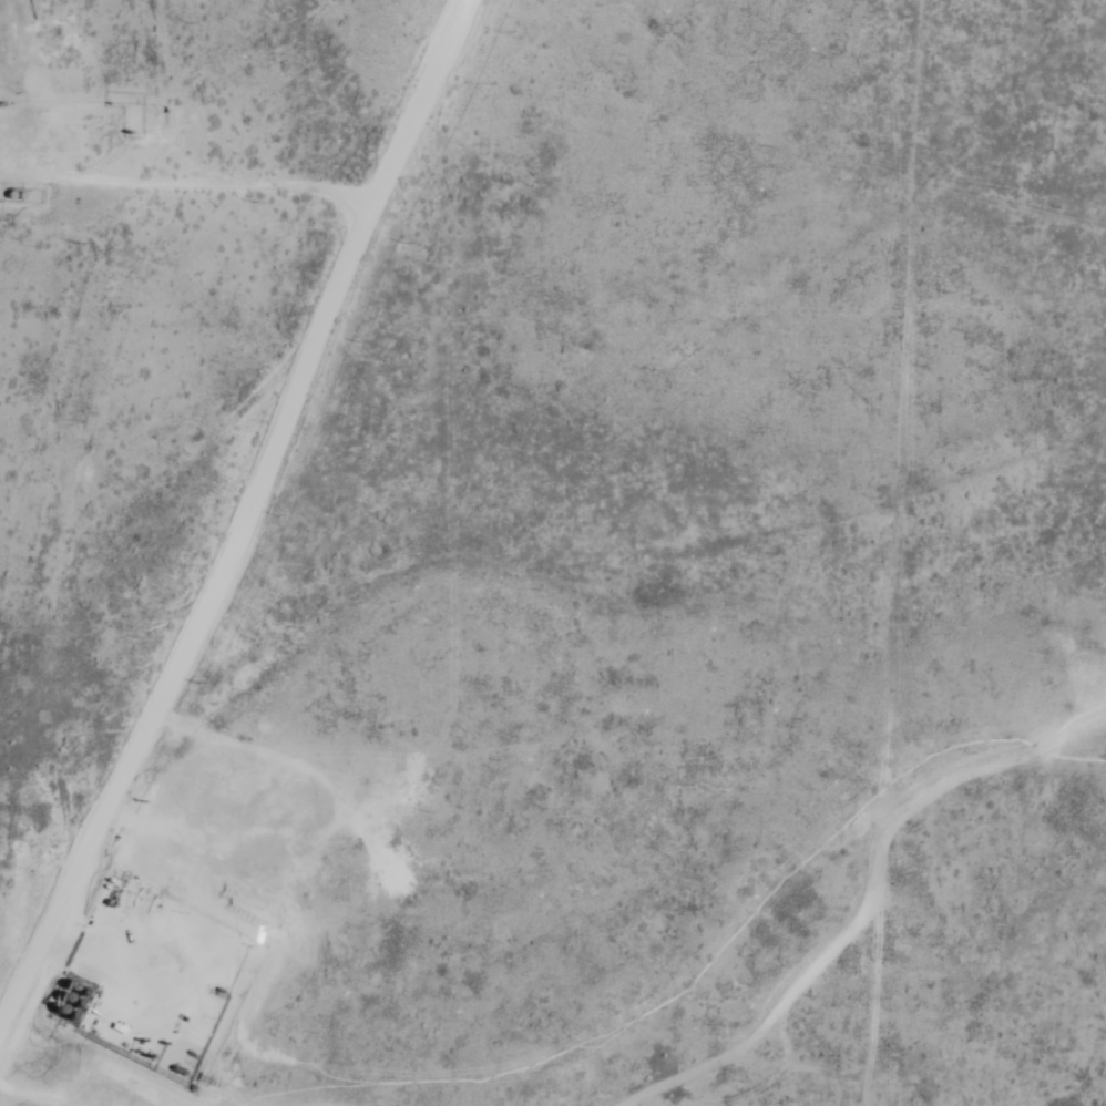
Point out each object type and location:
road: (202, 168)
road: (245, 520)

